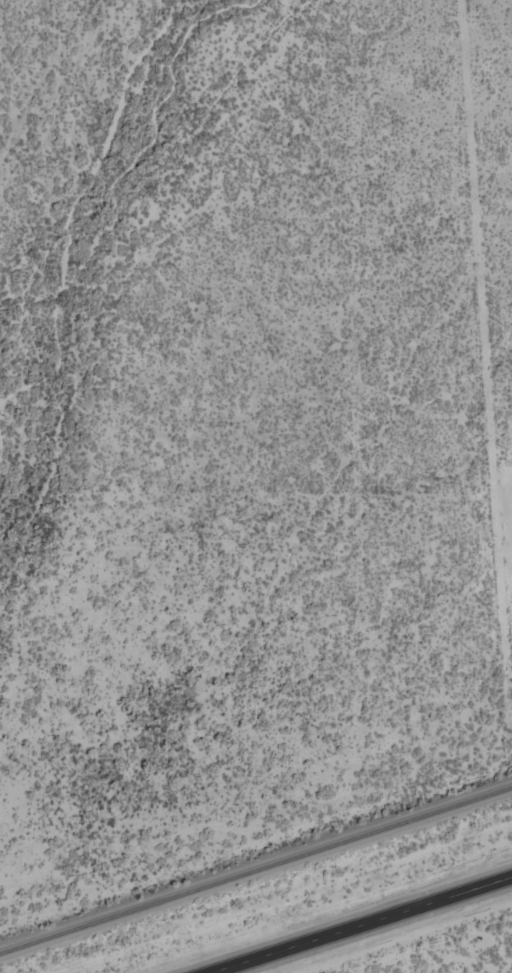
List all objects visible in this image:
railway: (256, 871)
road: (350, 921)

